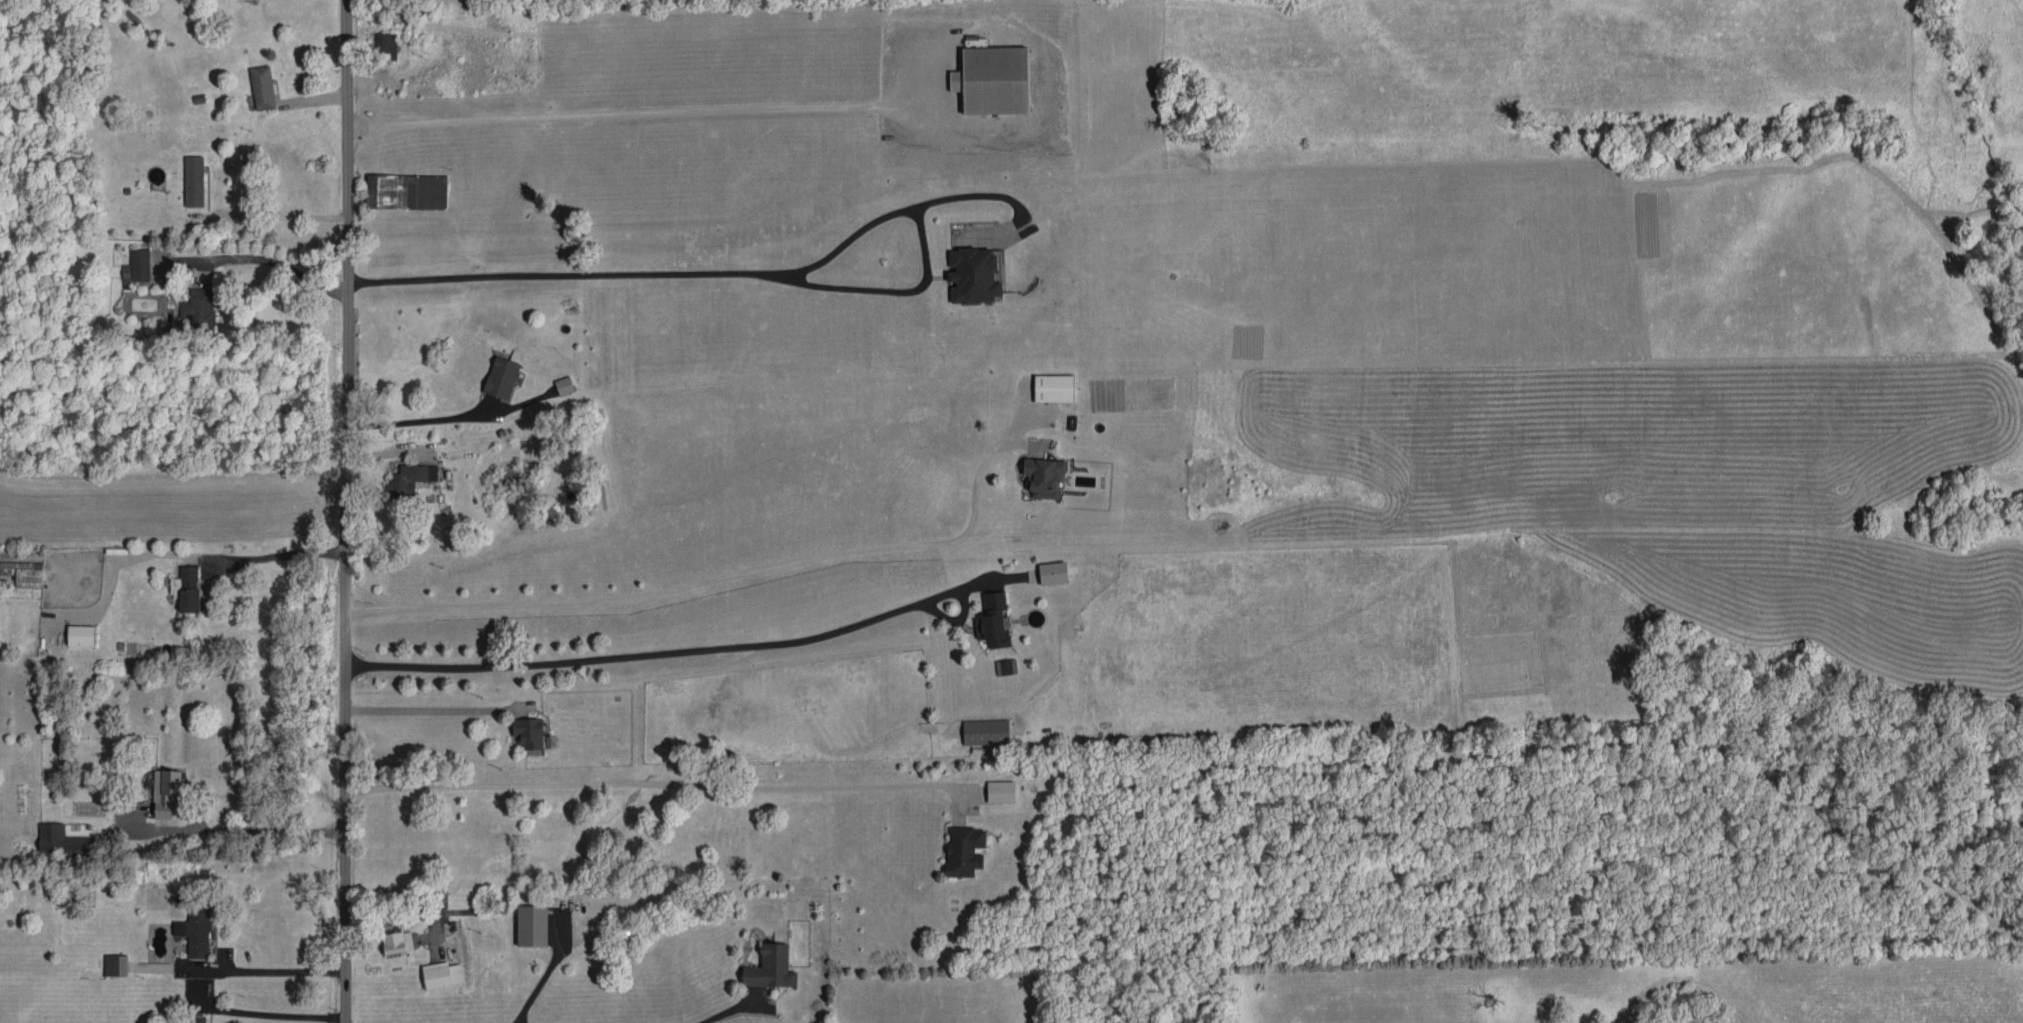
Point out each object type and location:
building: (385, 44)
building: (993, 80)
building: (262, 87)
road: (654, 115)
building: (194, 181)
building: (406, 191)
road: (292, 217)
building: (137, 266)
road: (749, 273)
building: (974, 275)
building: (199, 307)
building: (501, 377)
building: (564, 385)
building: (1053, 388)
road: (405, 420)
road: (981, 461)
building: (1044, 477)
building: (409, 480)
road: (343, 511)
road: (930, 546)
road: (291, 554)
building: (24, 573)
building: (1053, 573)
building: (186, 588)
road: (607, 602)
building: (994, 621)
building: (81, 635)
road: (655, 655)
road: (420, 713)
building: (985, 732)
building: (529, 733)
road: (652, 788)
building: (1001, 791)
building: (165, 792)
road: (250, 831)
building: (61, 841)
building: (964, 850)
road: (411, 911)
building: (532, 925)
building: (195, 932)
building: (397, 942)
building: (115, 965)
building: (771, 968)
road: (275, 971)
building: (441, 974)
road: (269, 1011)
road: (718, 1014)
building: (197, 1019)

